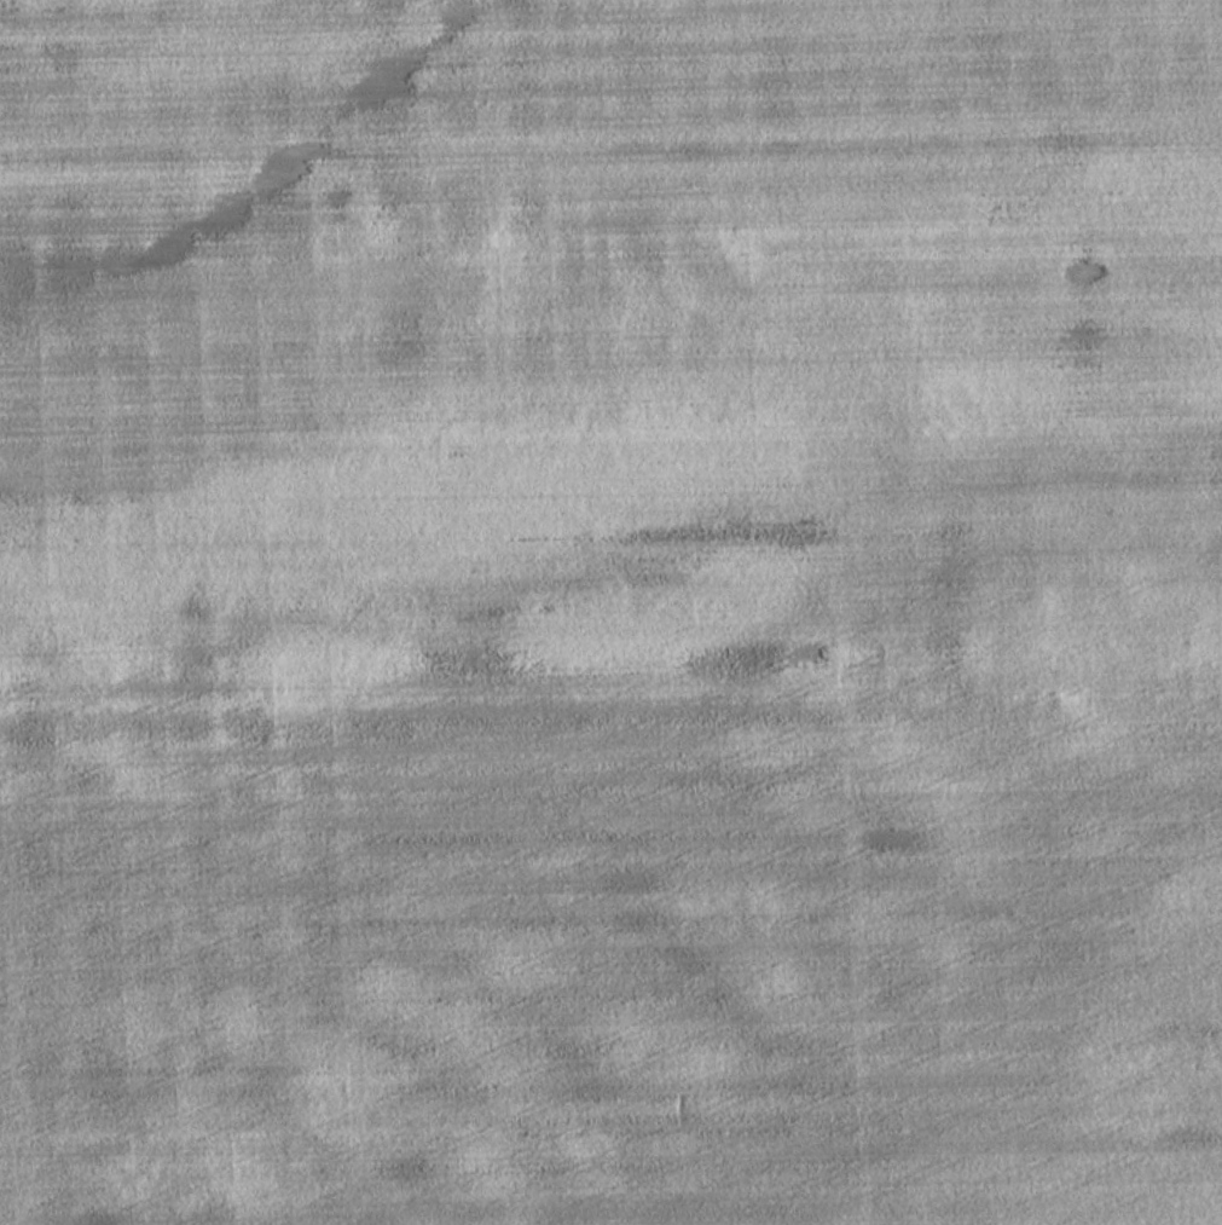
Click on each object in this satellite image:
crop: (610, 612)

